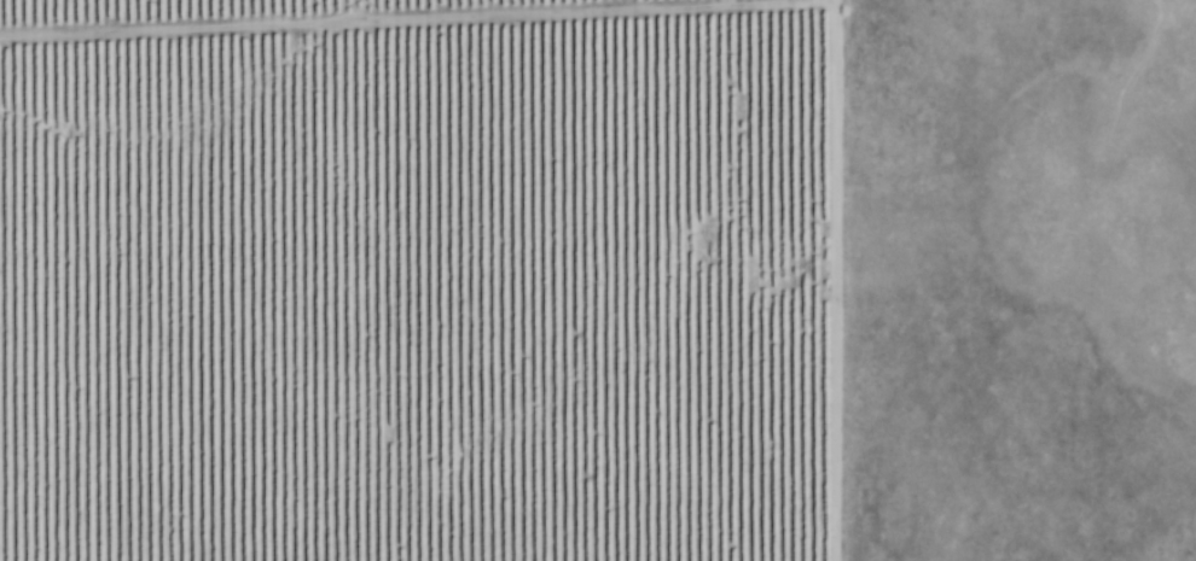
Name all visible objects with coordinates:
crop: (419, 280)

